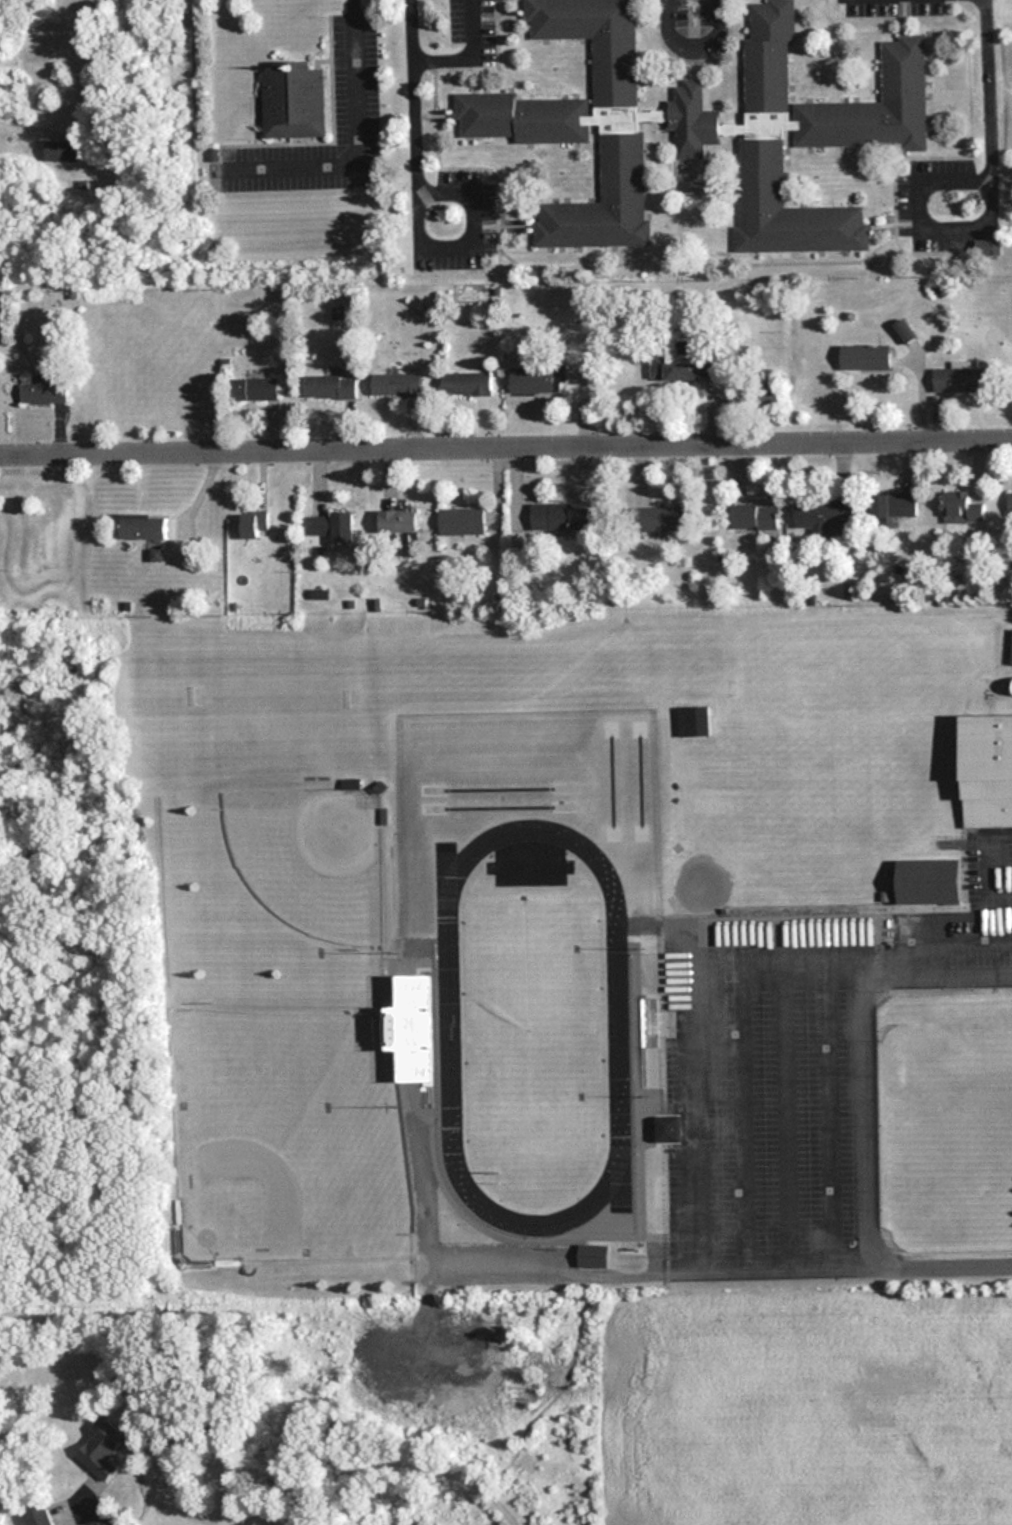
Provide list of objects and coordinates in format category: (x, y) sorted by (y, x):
road: (691, 38)
road: (458, 43)
road: (986, 87)
road: (410, 90)
building: (294, 101)
building: (580, 122)
building: (800, 133)
road: (356, 141)
building: (61, 151)
road: (466, 226)
road: (921, 228)
building: (990, 244)
building: (689, 356)
building: (866, 357)
building: (657, 365)
building: (536, 380)
building: (959, 380)
building: (467, 384)
building: (396, 385)
building: (329, 387)
building: (255, 389)
building: (43, 392)
road: (506, 449)
building: (894, 503)
building: (1010, 503)
building: (962, 508)
building: (825, 516)
building: (562, 517)
building: (755, 517)
building: (660, 519)
building: (398, 521)
building: (462, 521)
building: (254, 524)
building: (144, 526)
building: (332, 526)
building: (1011, 663)
building: (987, 770)
building: (351, 784)
park: (312, 858)
building: (930, 882)
building: (651, 999)
park: (528, 1025)
track: (616, 1025)
building: (424, 1029)
road: (861, 1047)
building: (667, 1128)
building: (593, 1255)
road: (844, 1265)
building: (102, 1450)
road: (402, 1466)
road: (97, 1505)
building: (38, 1516)

